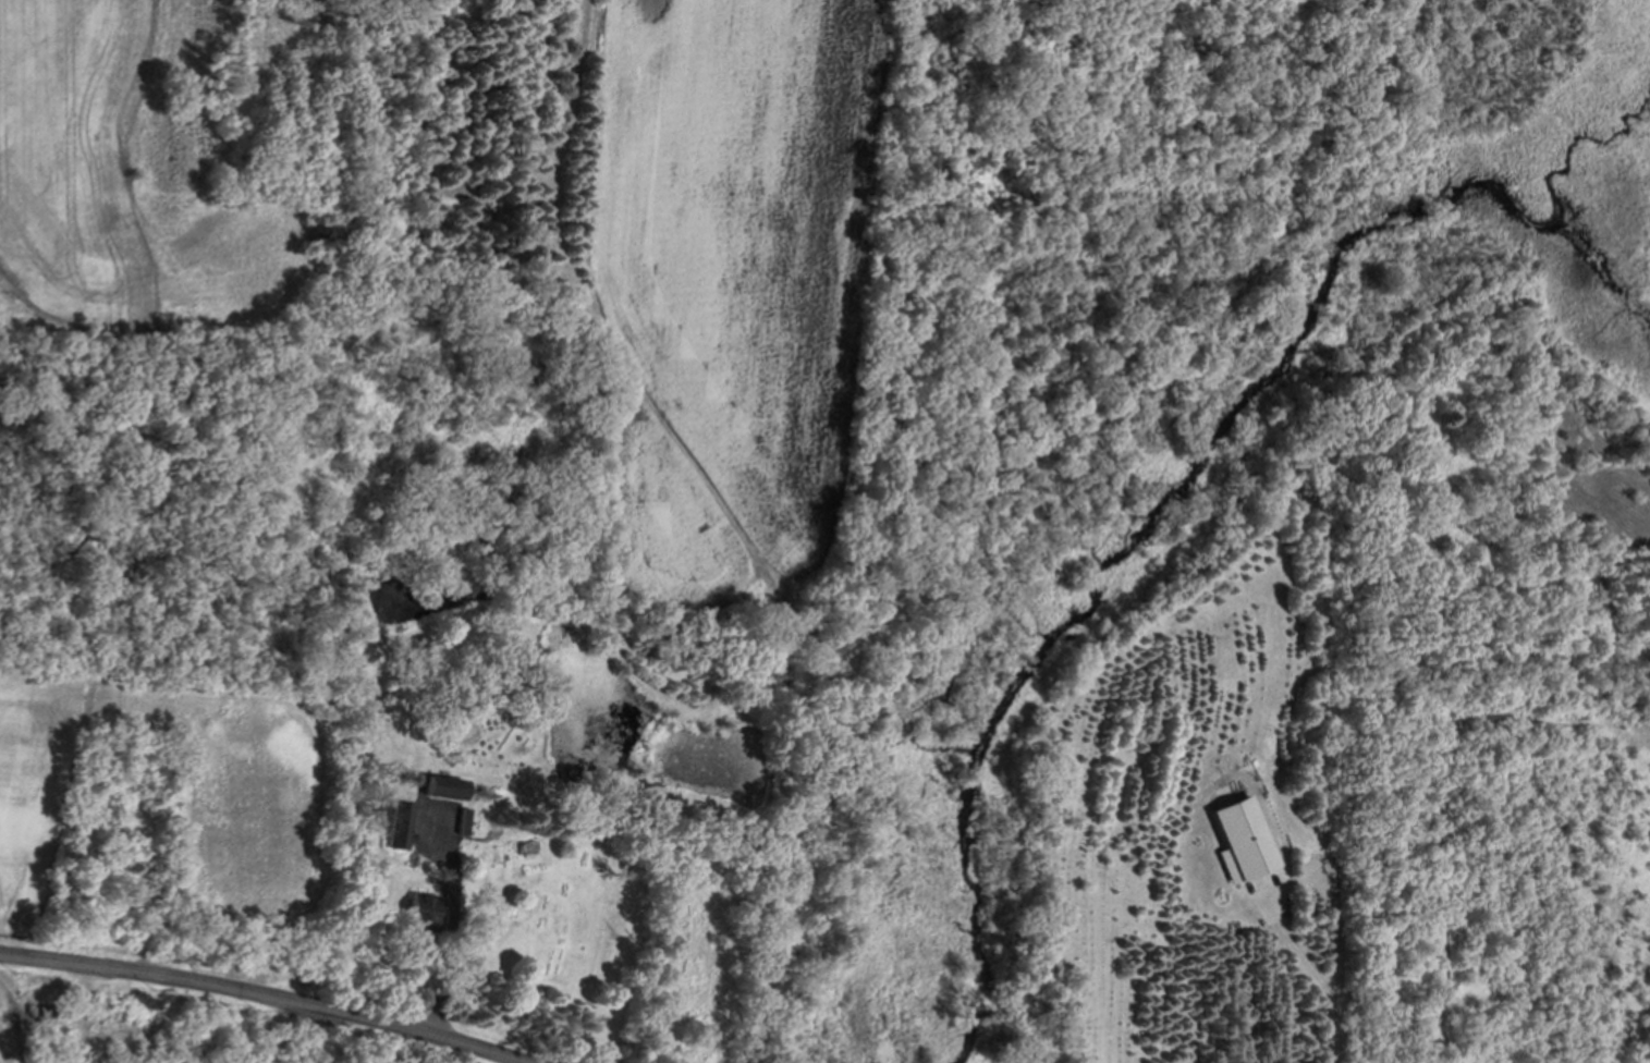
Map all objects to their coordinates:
building: (444, 789)
building: (400, 828)
building: (1243, 840)
road: (1295, 881)
building: (420, 913)
road: (450, 925)
road: (264, 1000)
road: (1332, 1029)

